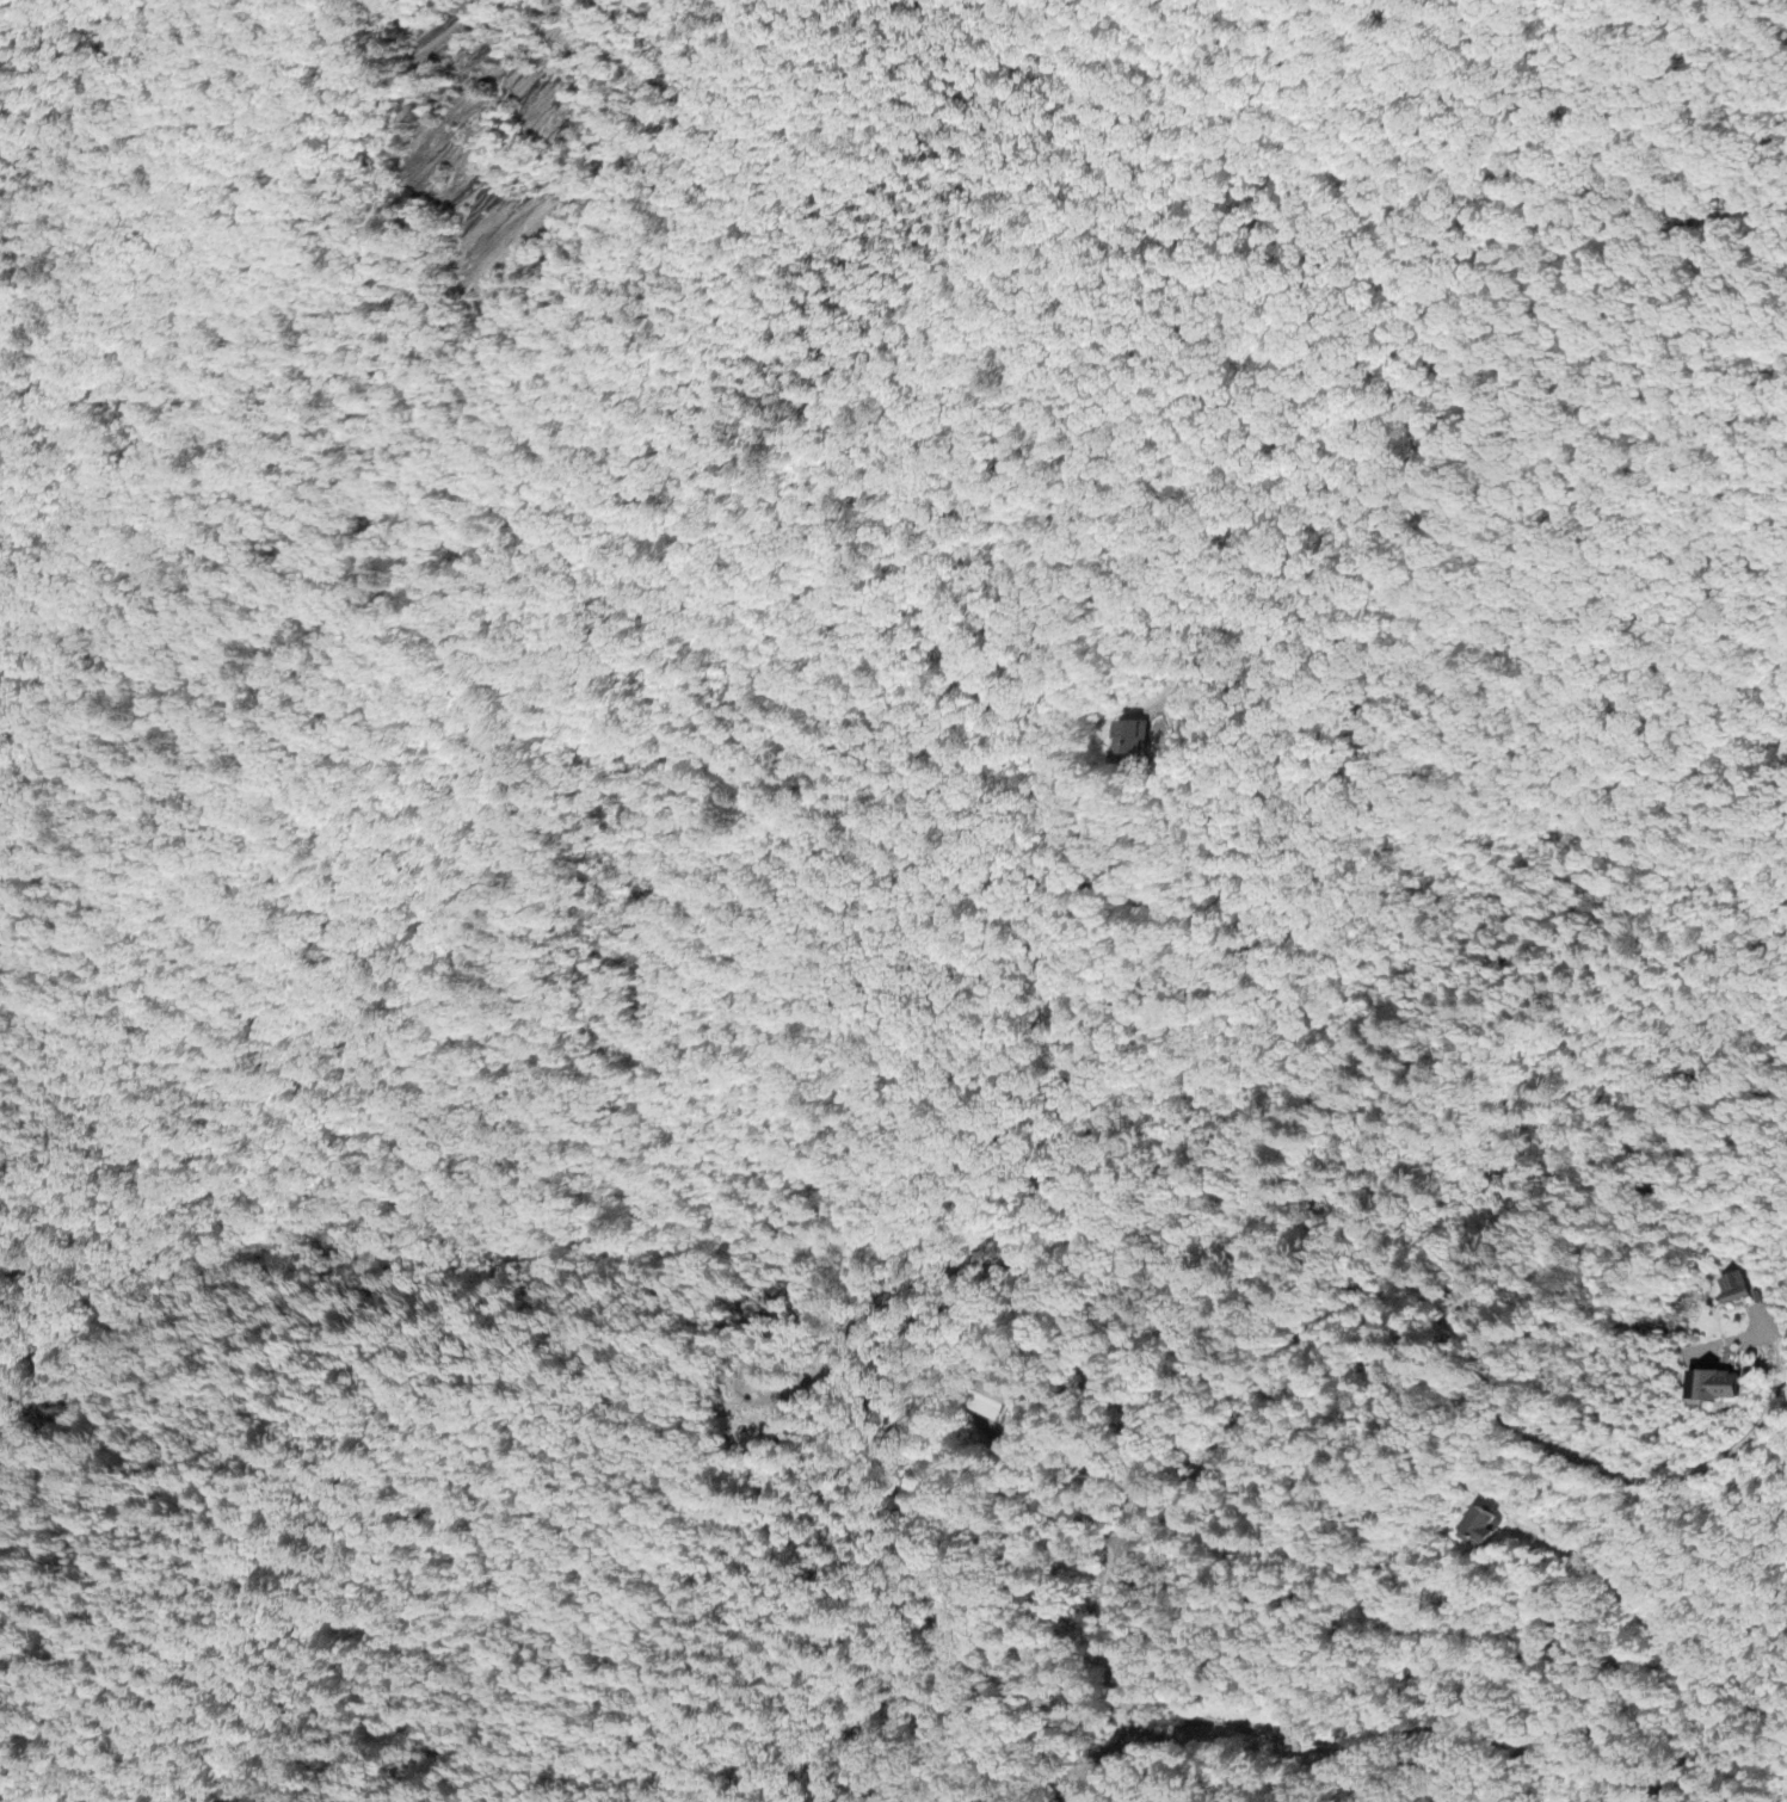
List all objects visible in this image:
building: (1135, 740)
building: (1734, 1291)
building: (1719, 1388)
building: (994, 1406)
building: (1483, 1532)

